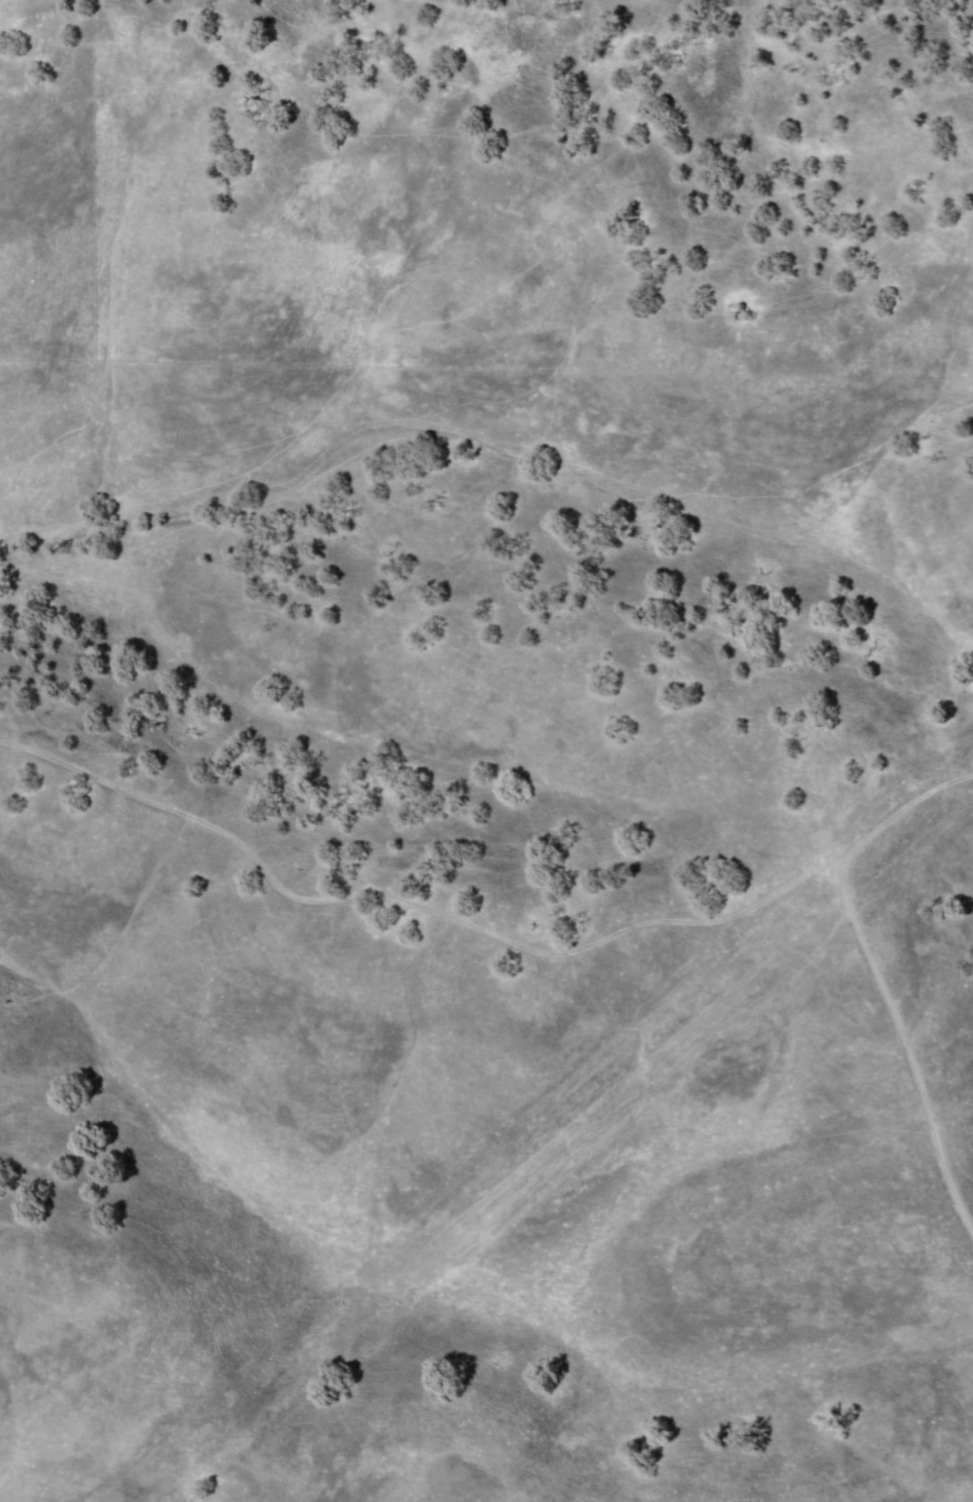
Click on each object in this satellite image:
road: (413, 907)
road: (880, 976)

